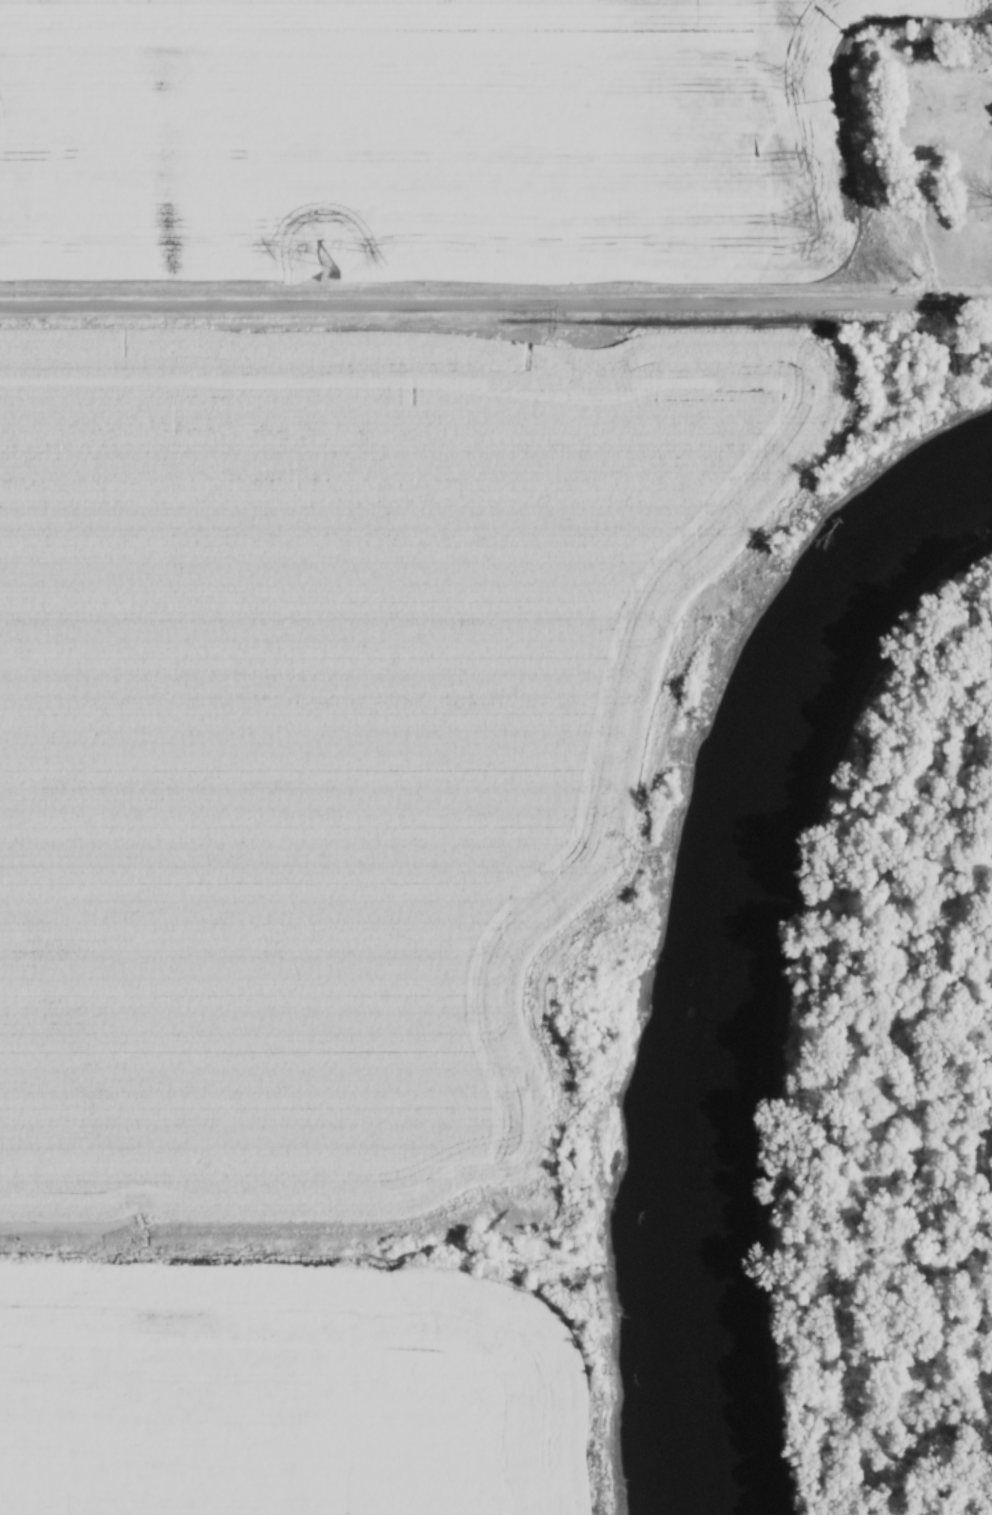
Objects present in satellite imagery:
power tower: (324, 264)
road: (496, 304)
river: (742, 959)

